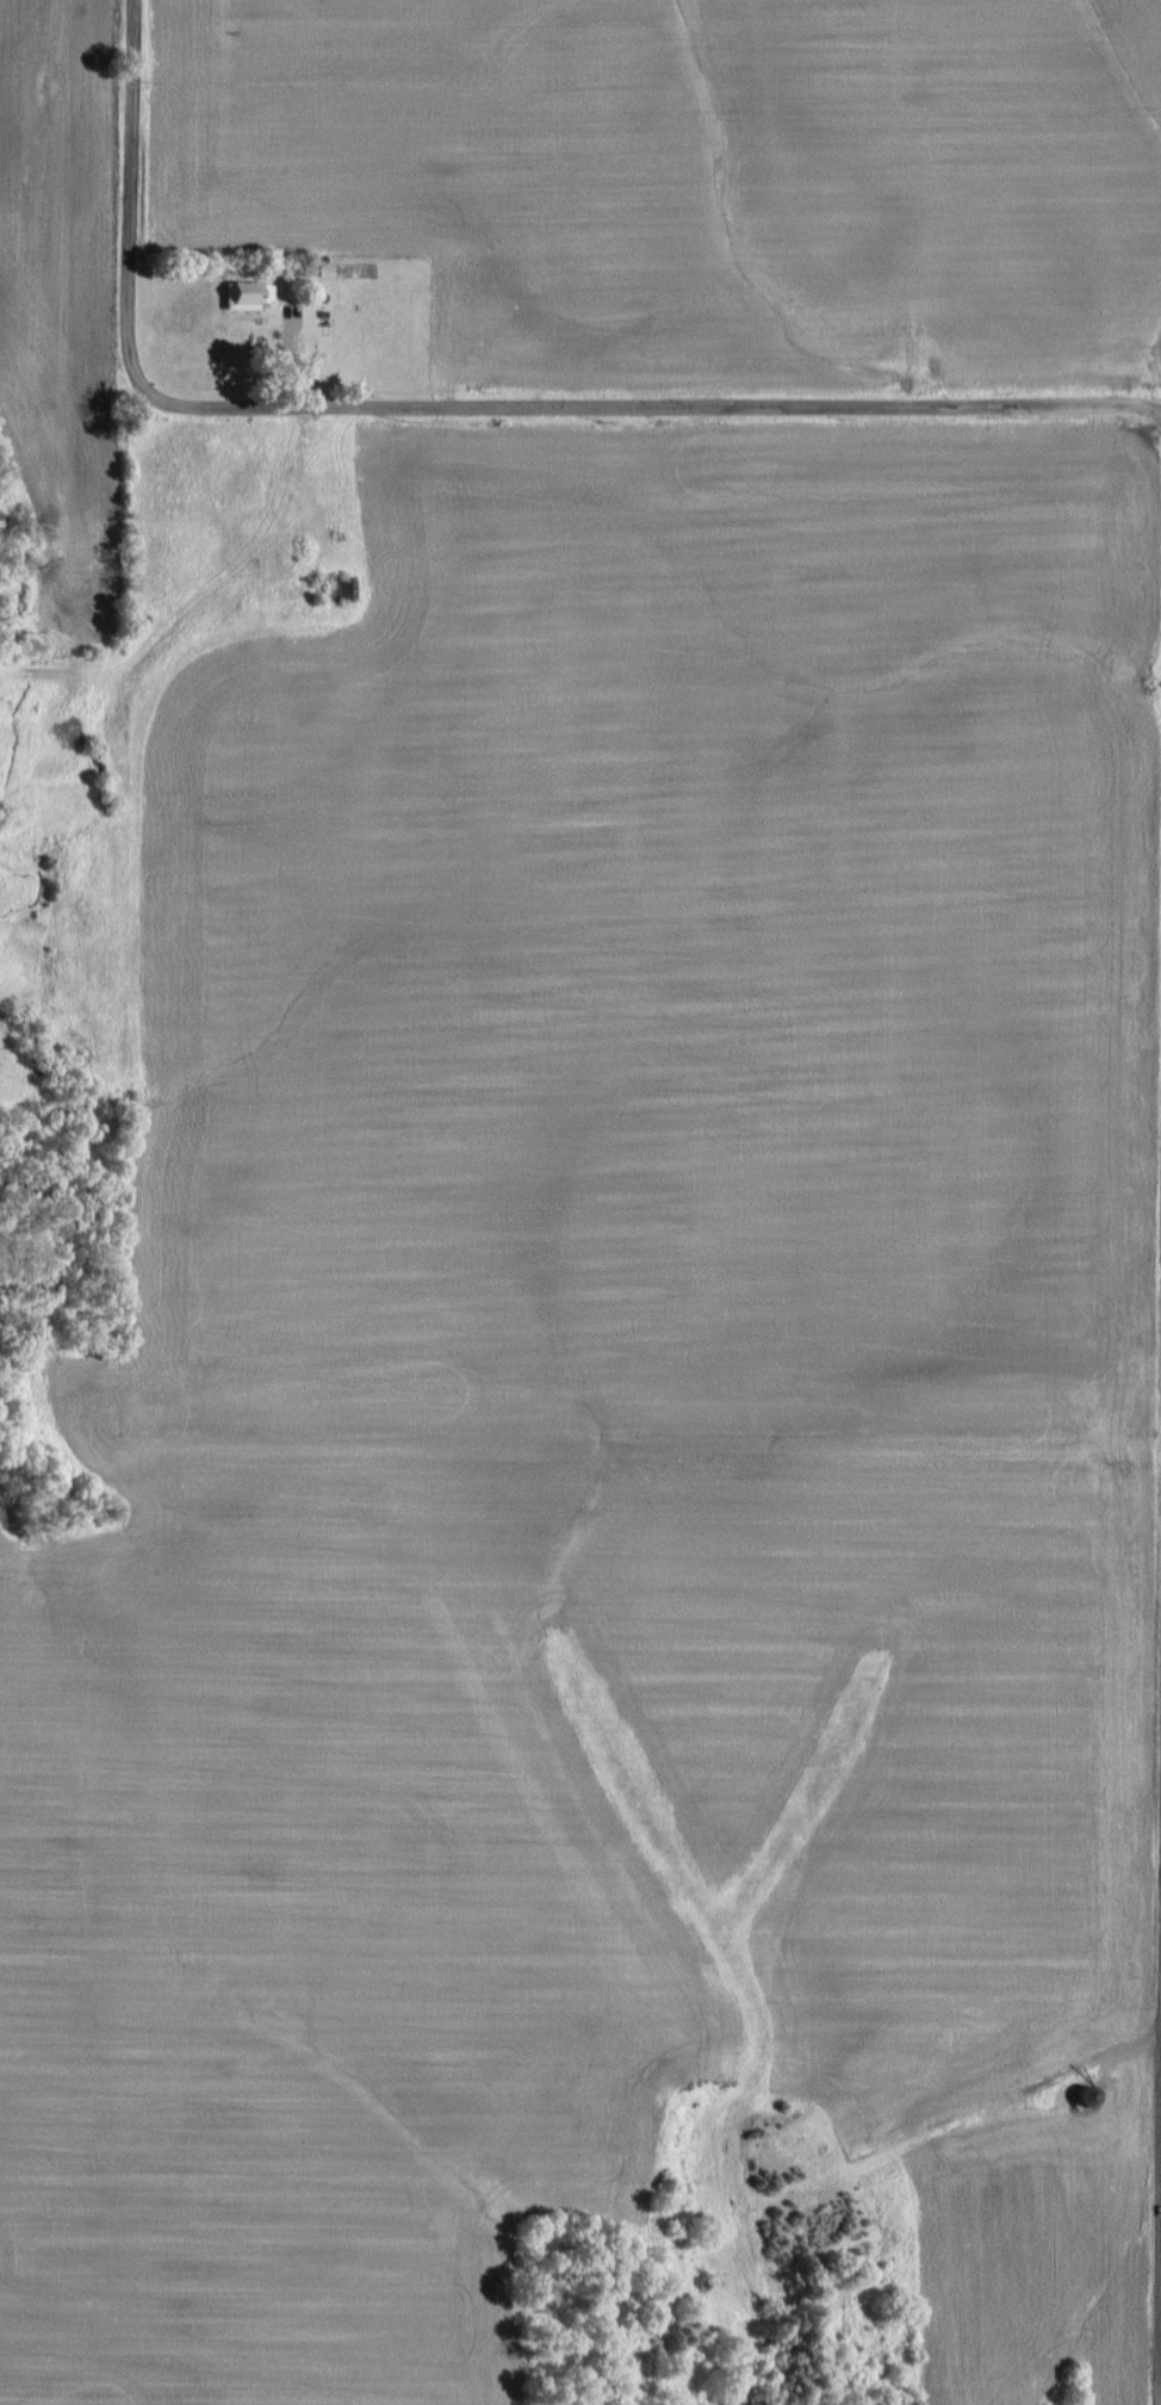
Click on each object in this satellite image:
road: (126, 205)
building: (247, 293)
road: (671, 401)
road: (1159, 2063)

